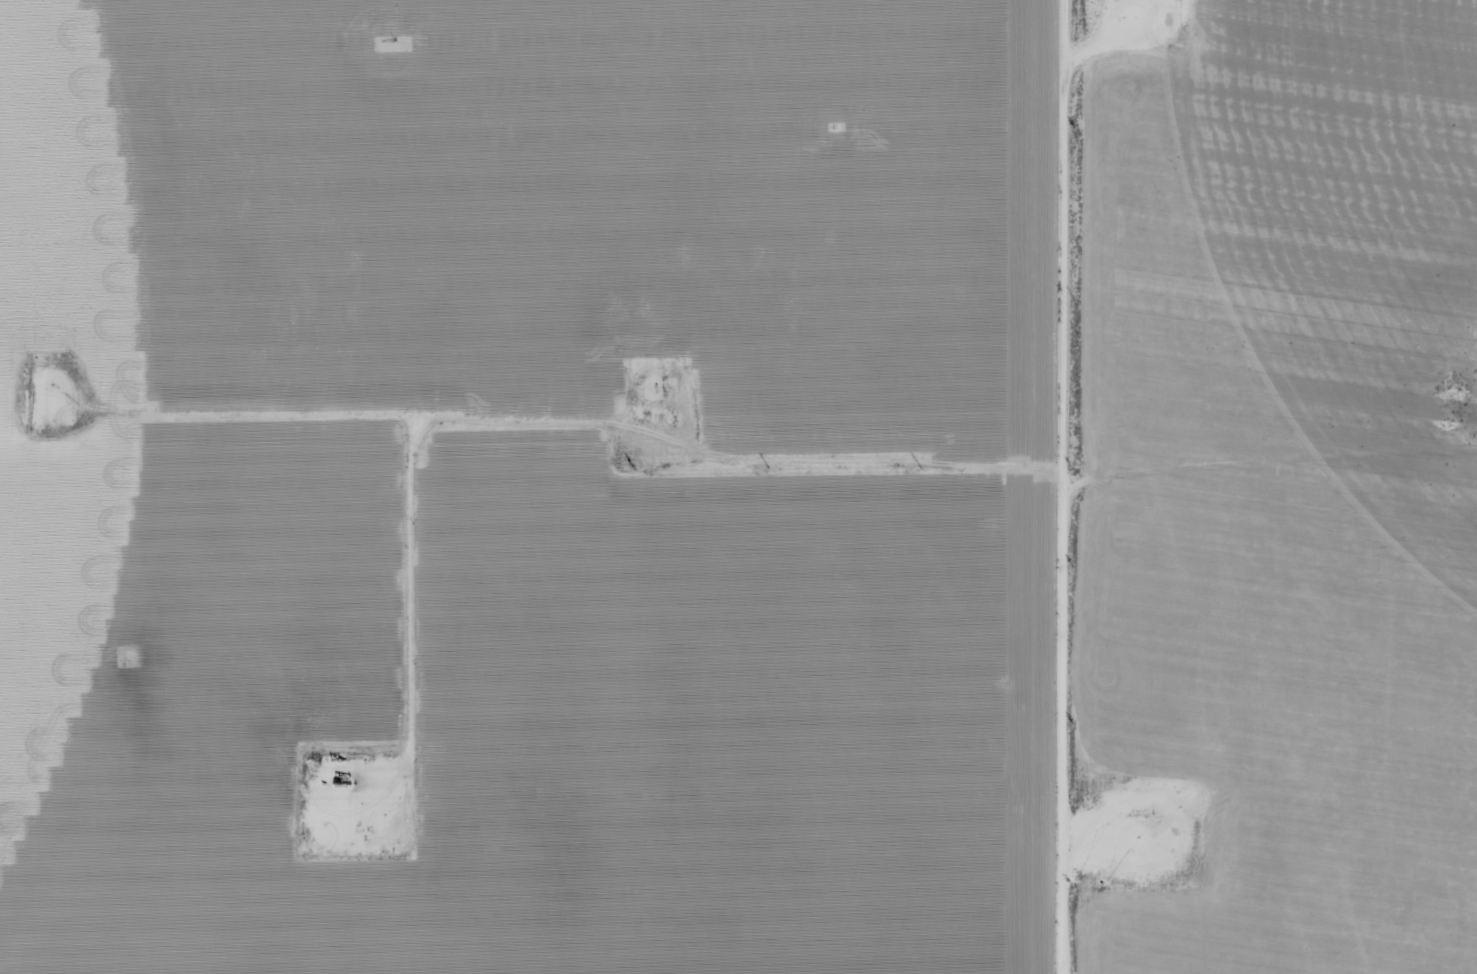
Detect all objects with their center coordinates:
road: (1071, 486)
road: (1275, 491)
petroleum well: (331, 780)
petroleum well: (1146, 814)

